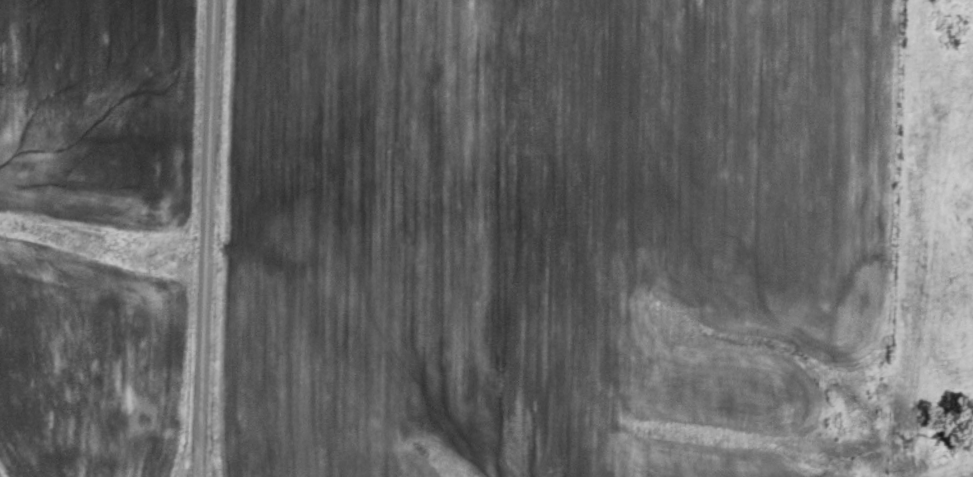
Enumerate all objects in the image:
road: (208, 238)
building: (145, 416)

